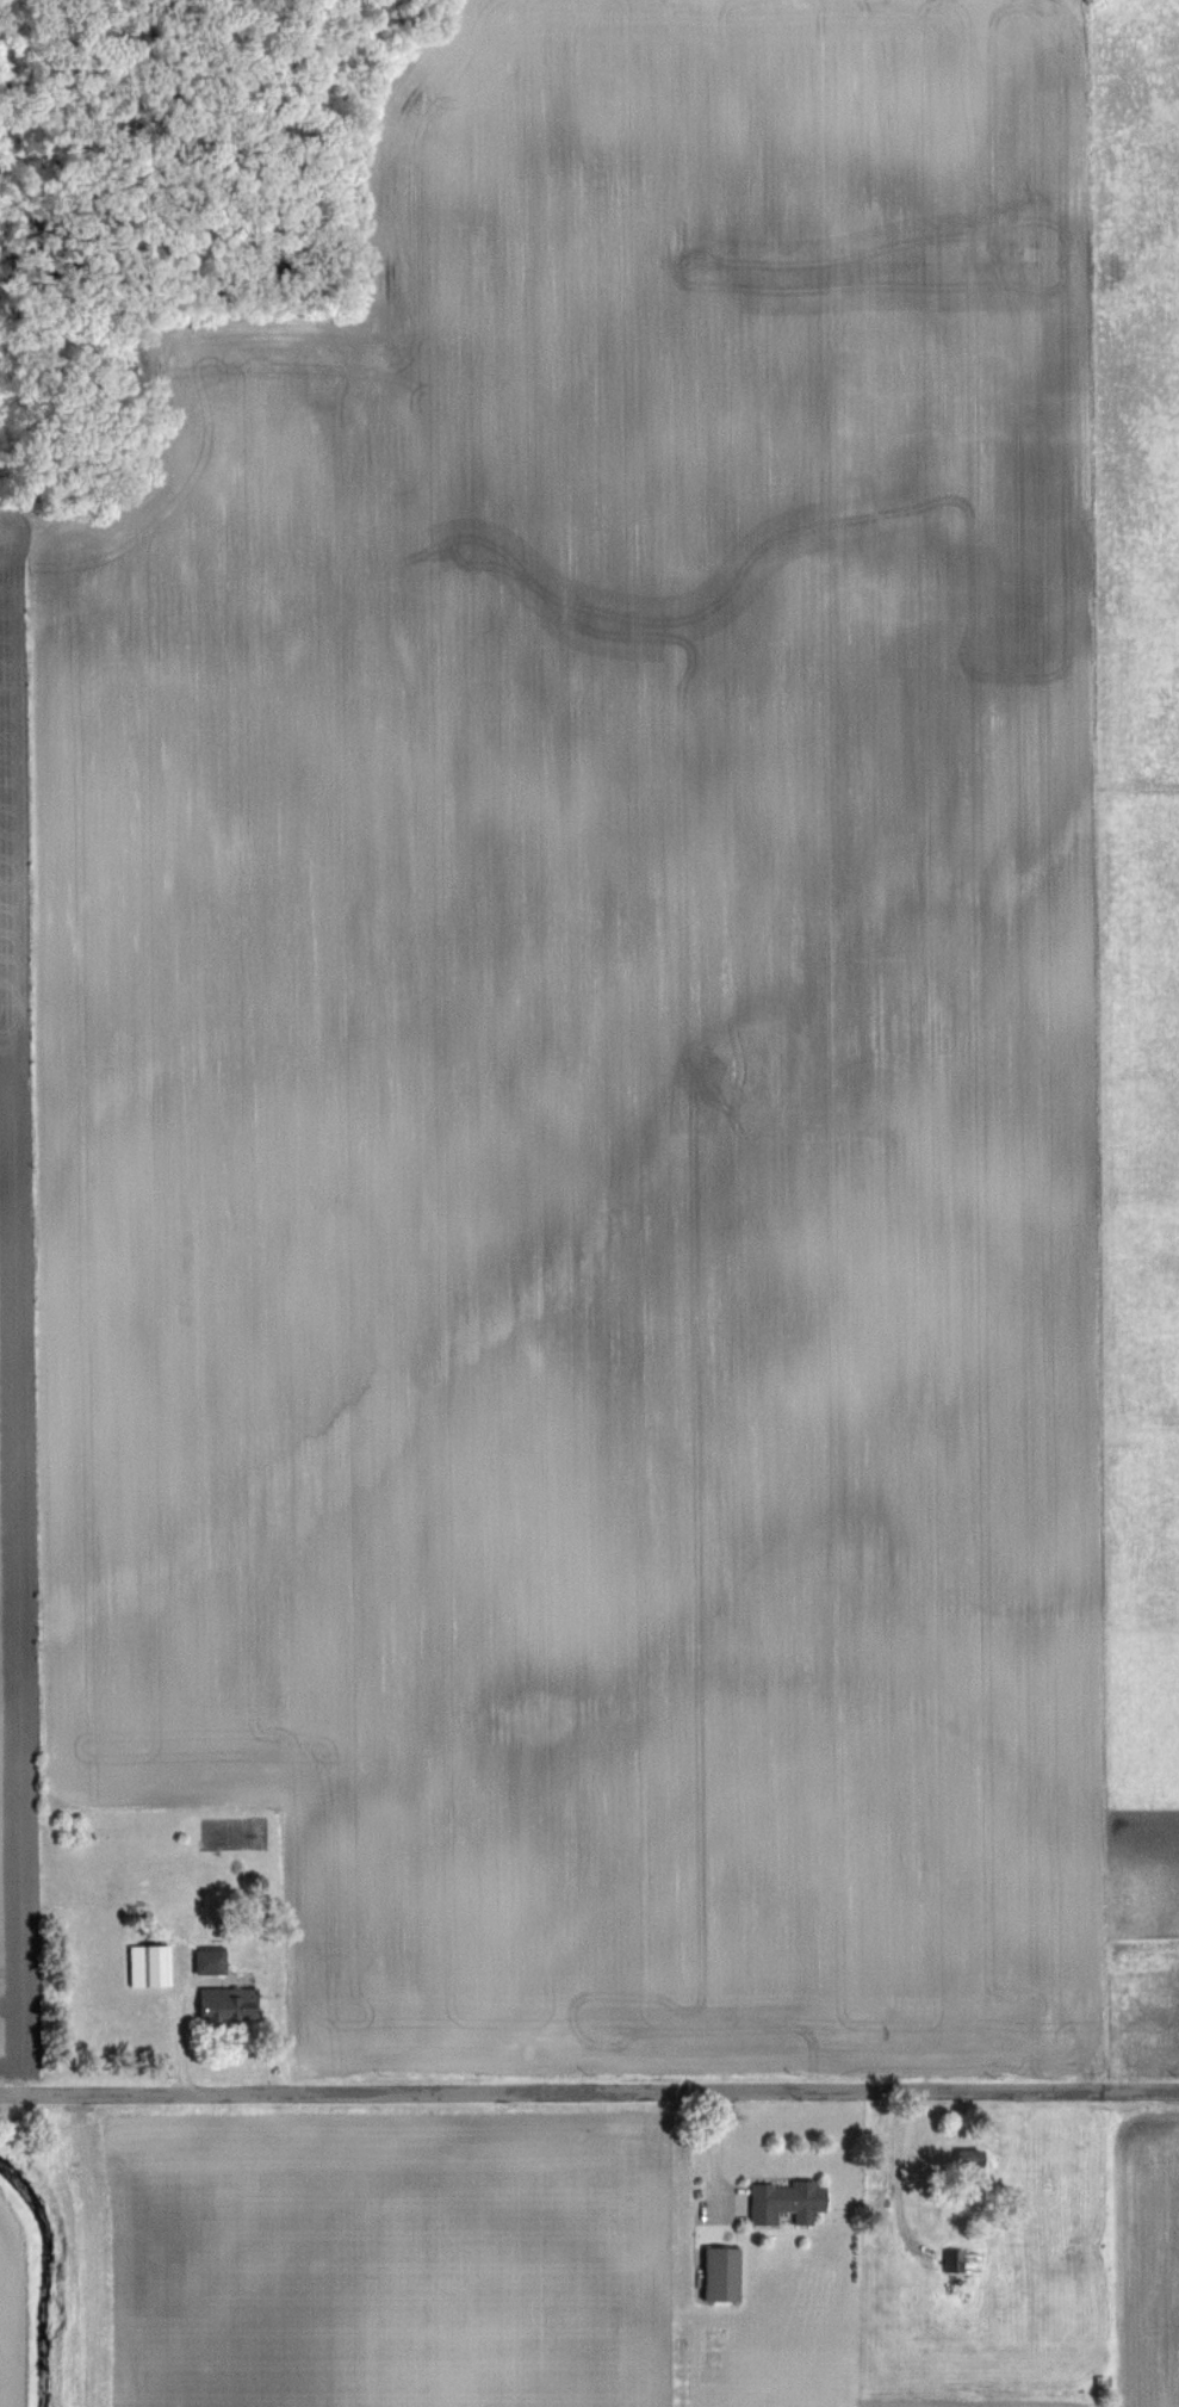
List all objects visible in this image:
building: (159, 1966)
building: (225, 2004)
road: (589, 2093)
building: (973, 2164)
building: (787, 2202)
building: (955, 2261)
building: (722, 2273)

